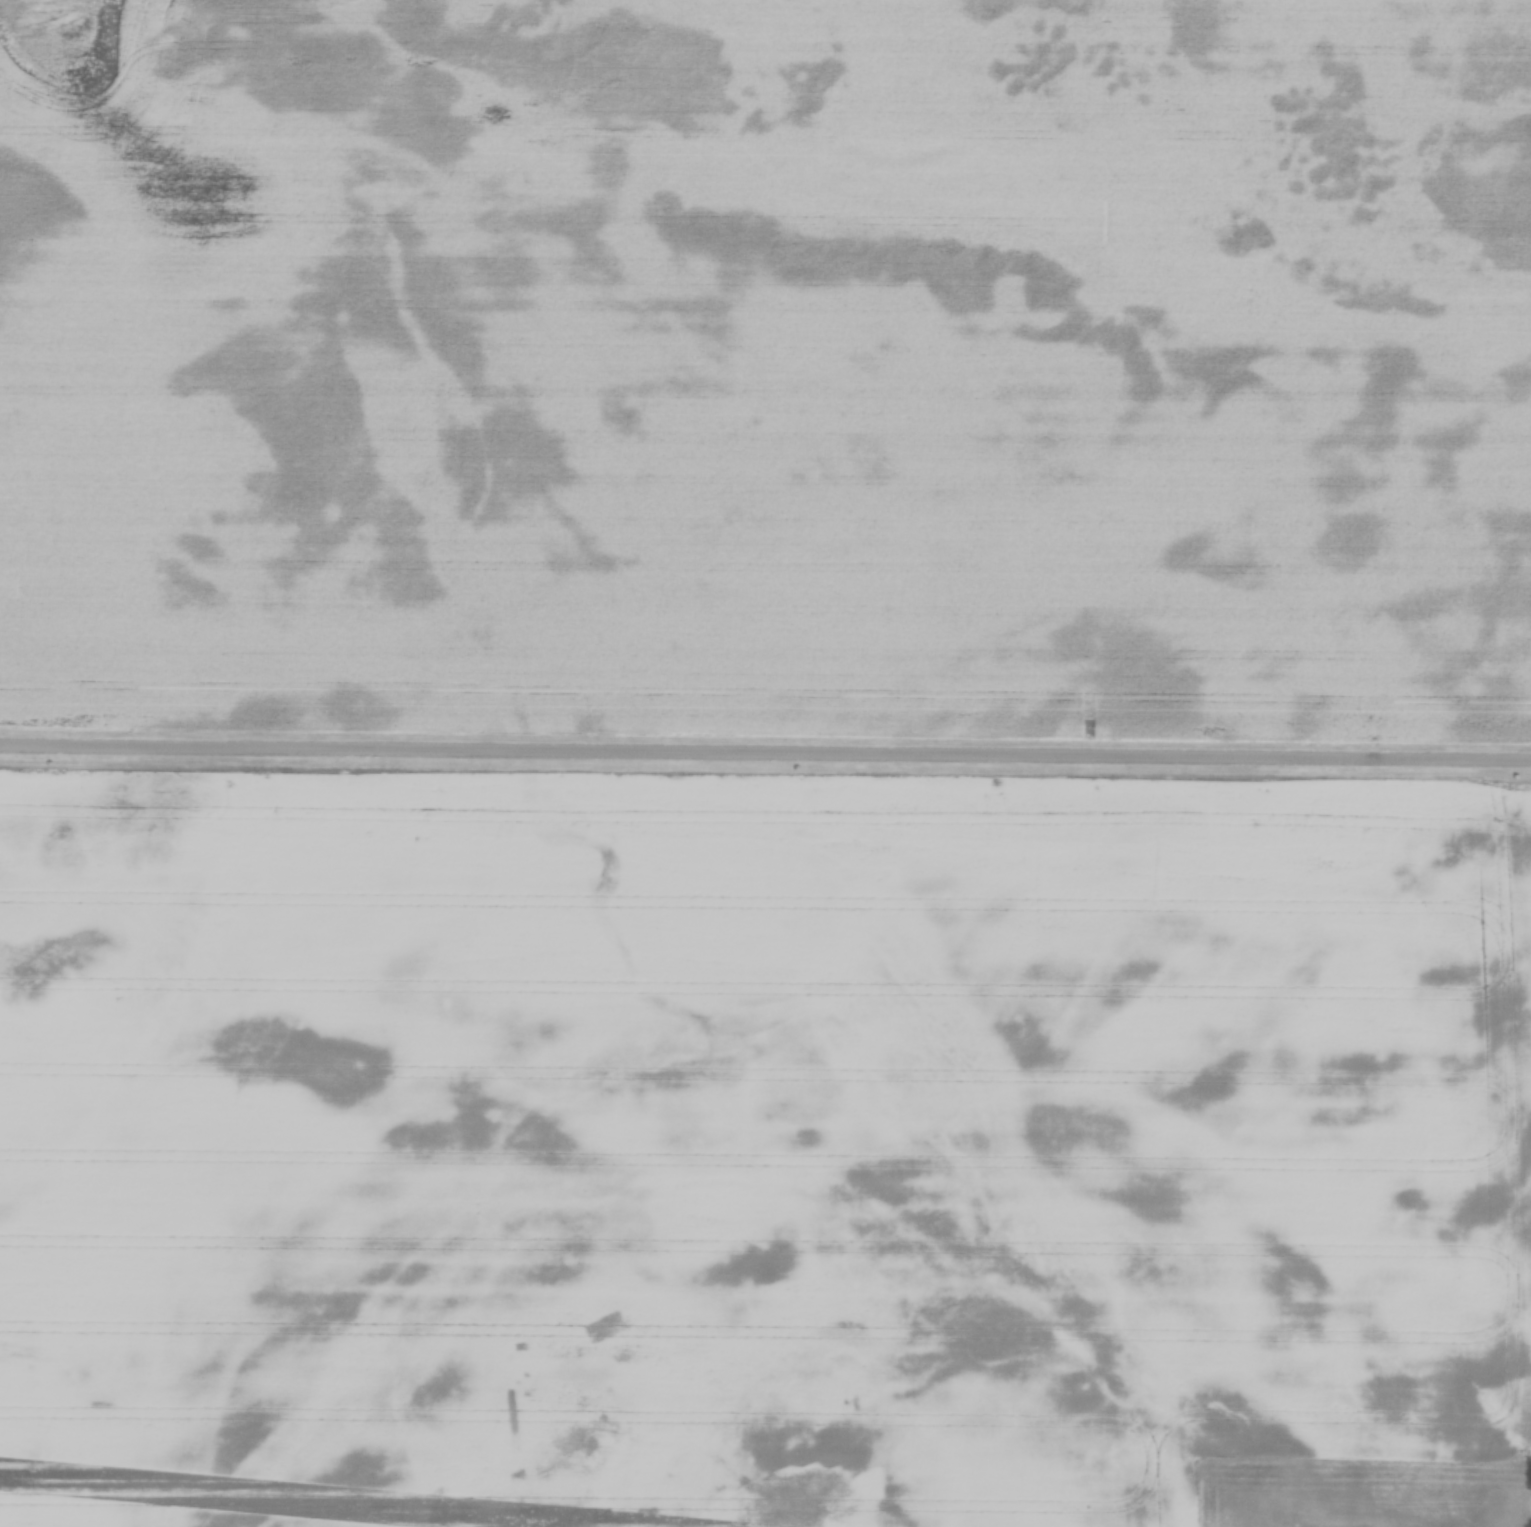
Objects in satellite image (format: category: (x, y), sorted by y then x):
road: (765, 755)

